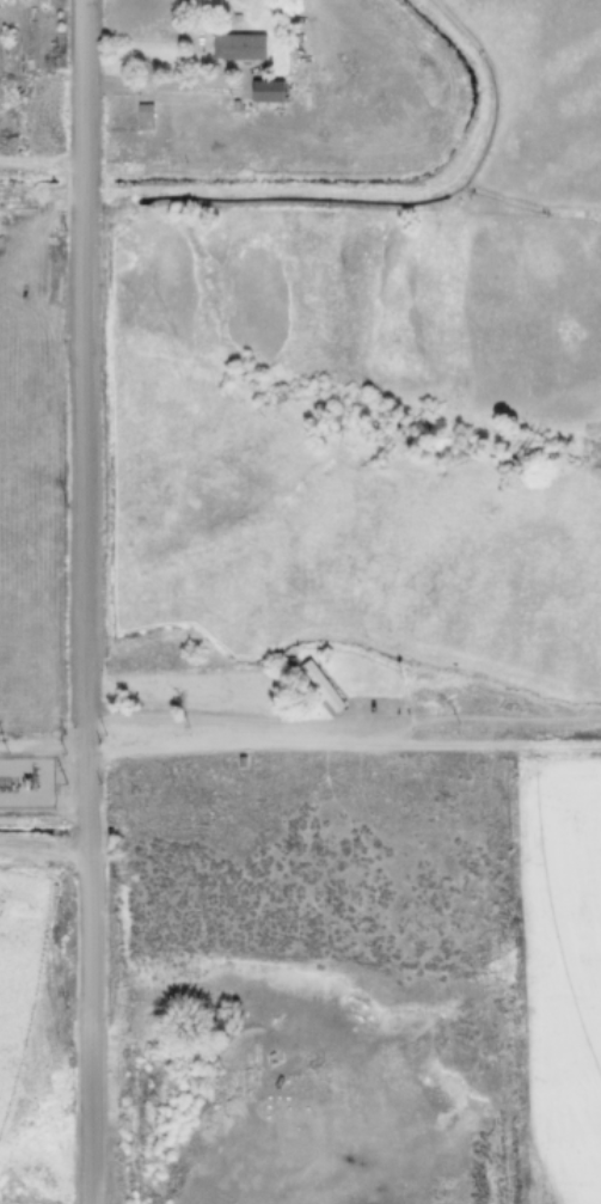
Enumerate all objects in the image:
building: (238, 44)
road: (161, 85)
building: (266, 88)
building: (143, 110)
road: (84, 601)
building: (321, 684)
road: (228, 717)
road: (343, 747)
building: (241, 760)
road: (43, 847)

